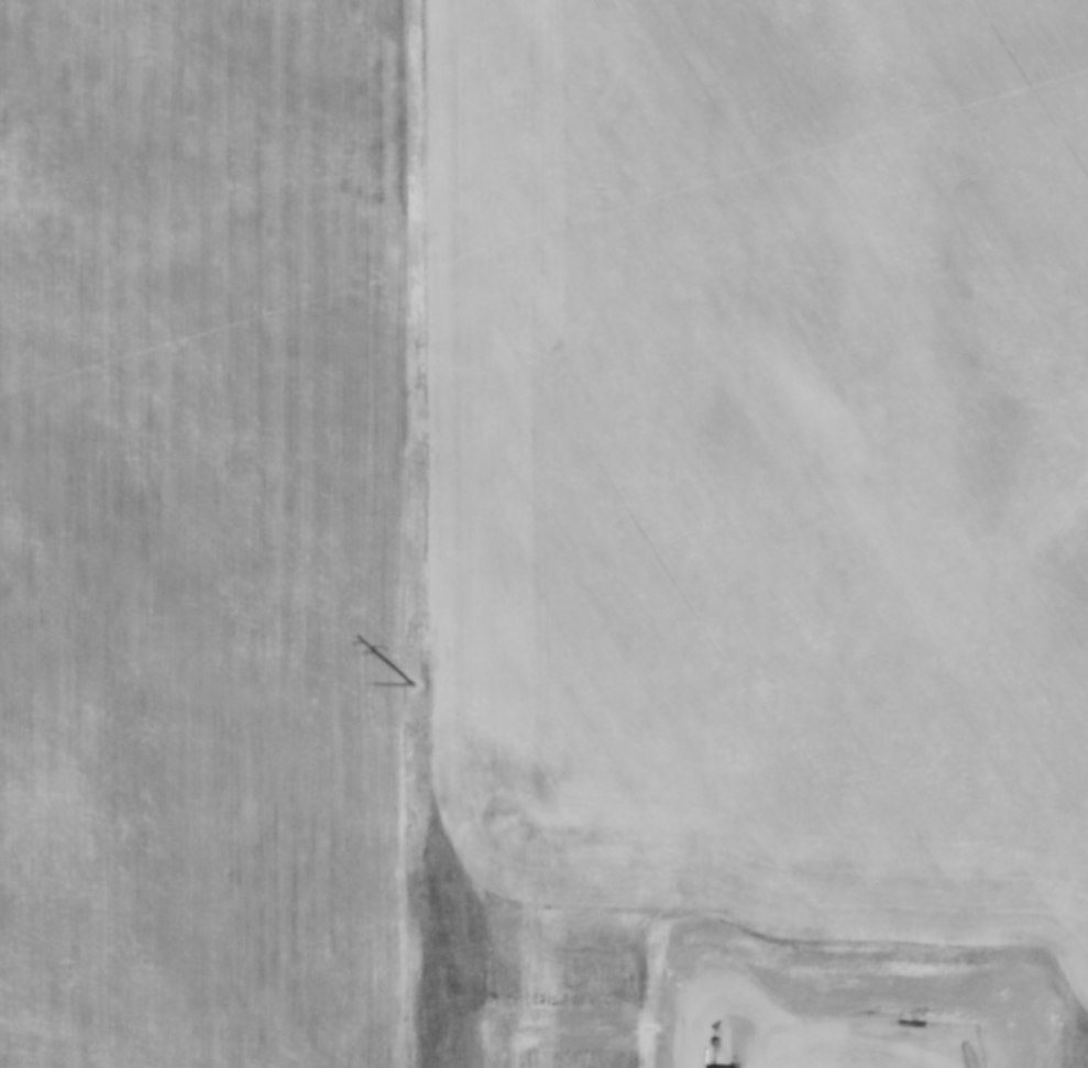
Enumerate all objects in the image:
power tower: (416, 679)
building: (717, 1067)

